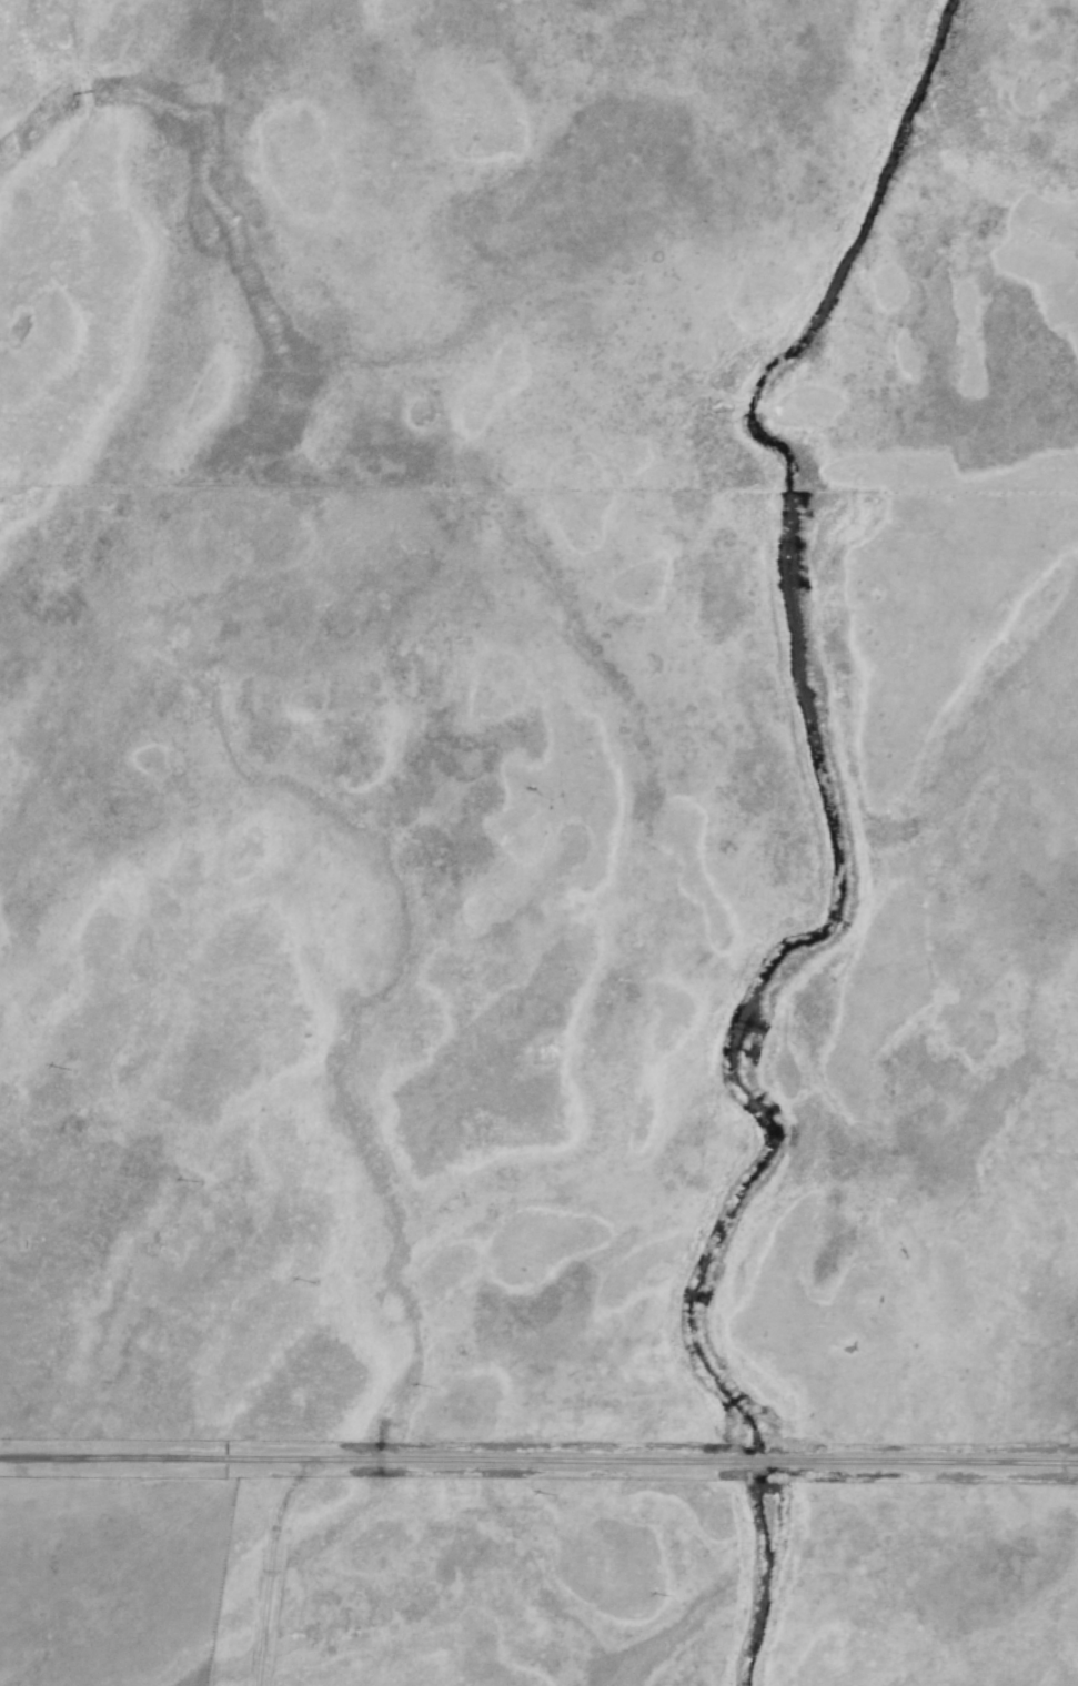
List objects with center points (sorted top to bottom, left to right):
crop: (582, 827)
road: (538, 1457)
road: (243, 1565)

